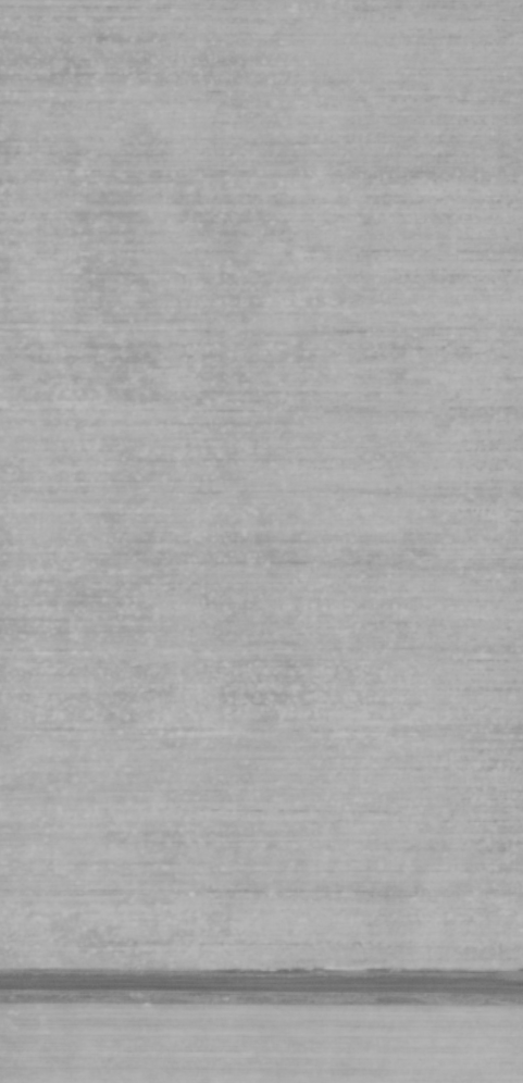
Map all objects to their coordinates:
road: (261, 992)

